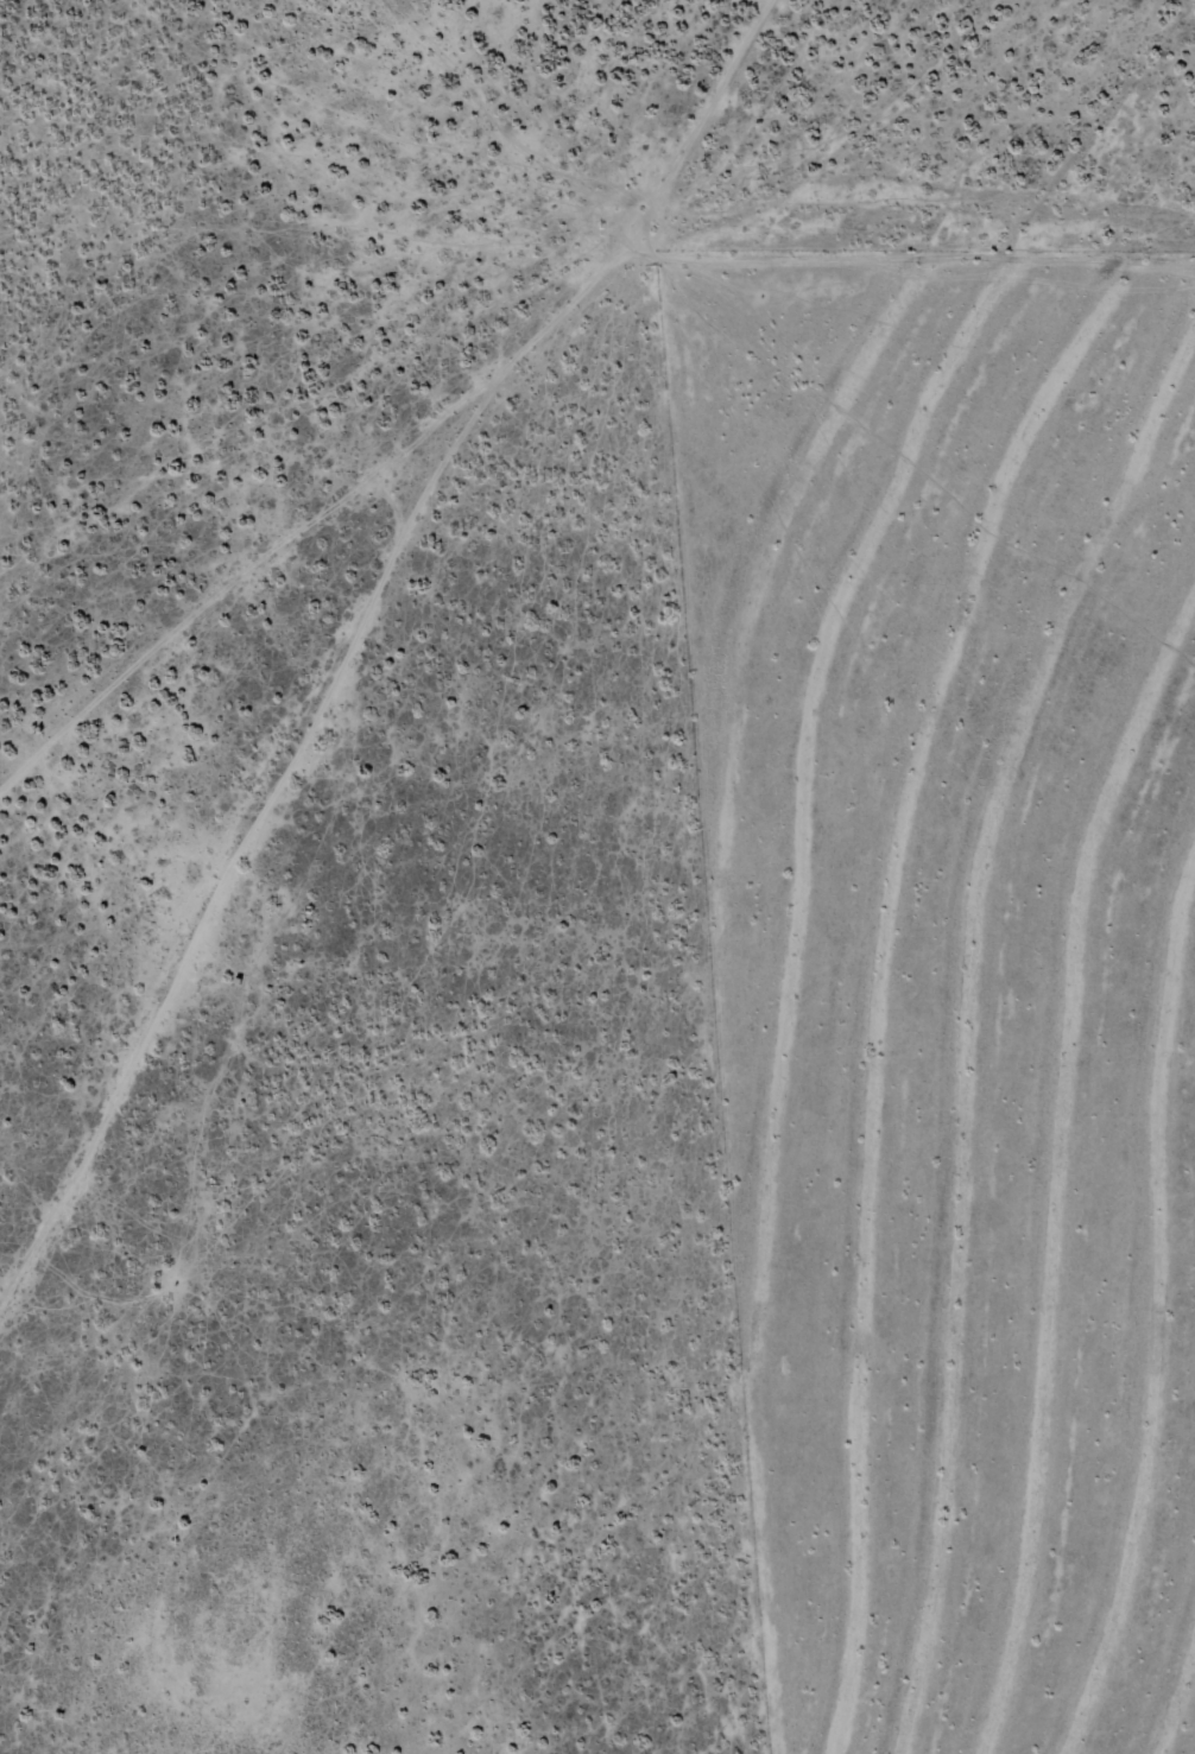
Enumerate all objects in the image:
road: (732, 106)
road: (474, 550)

